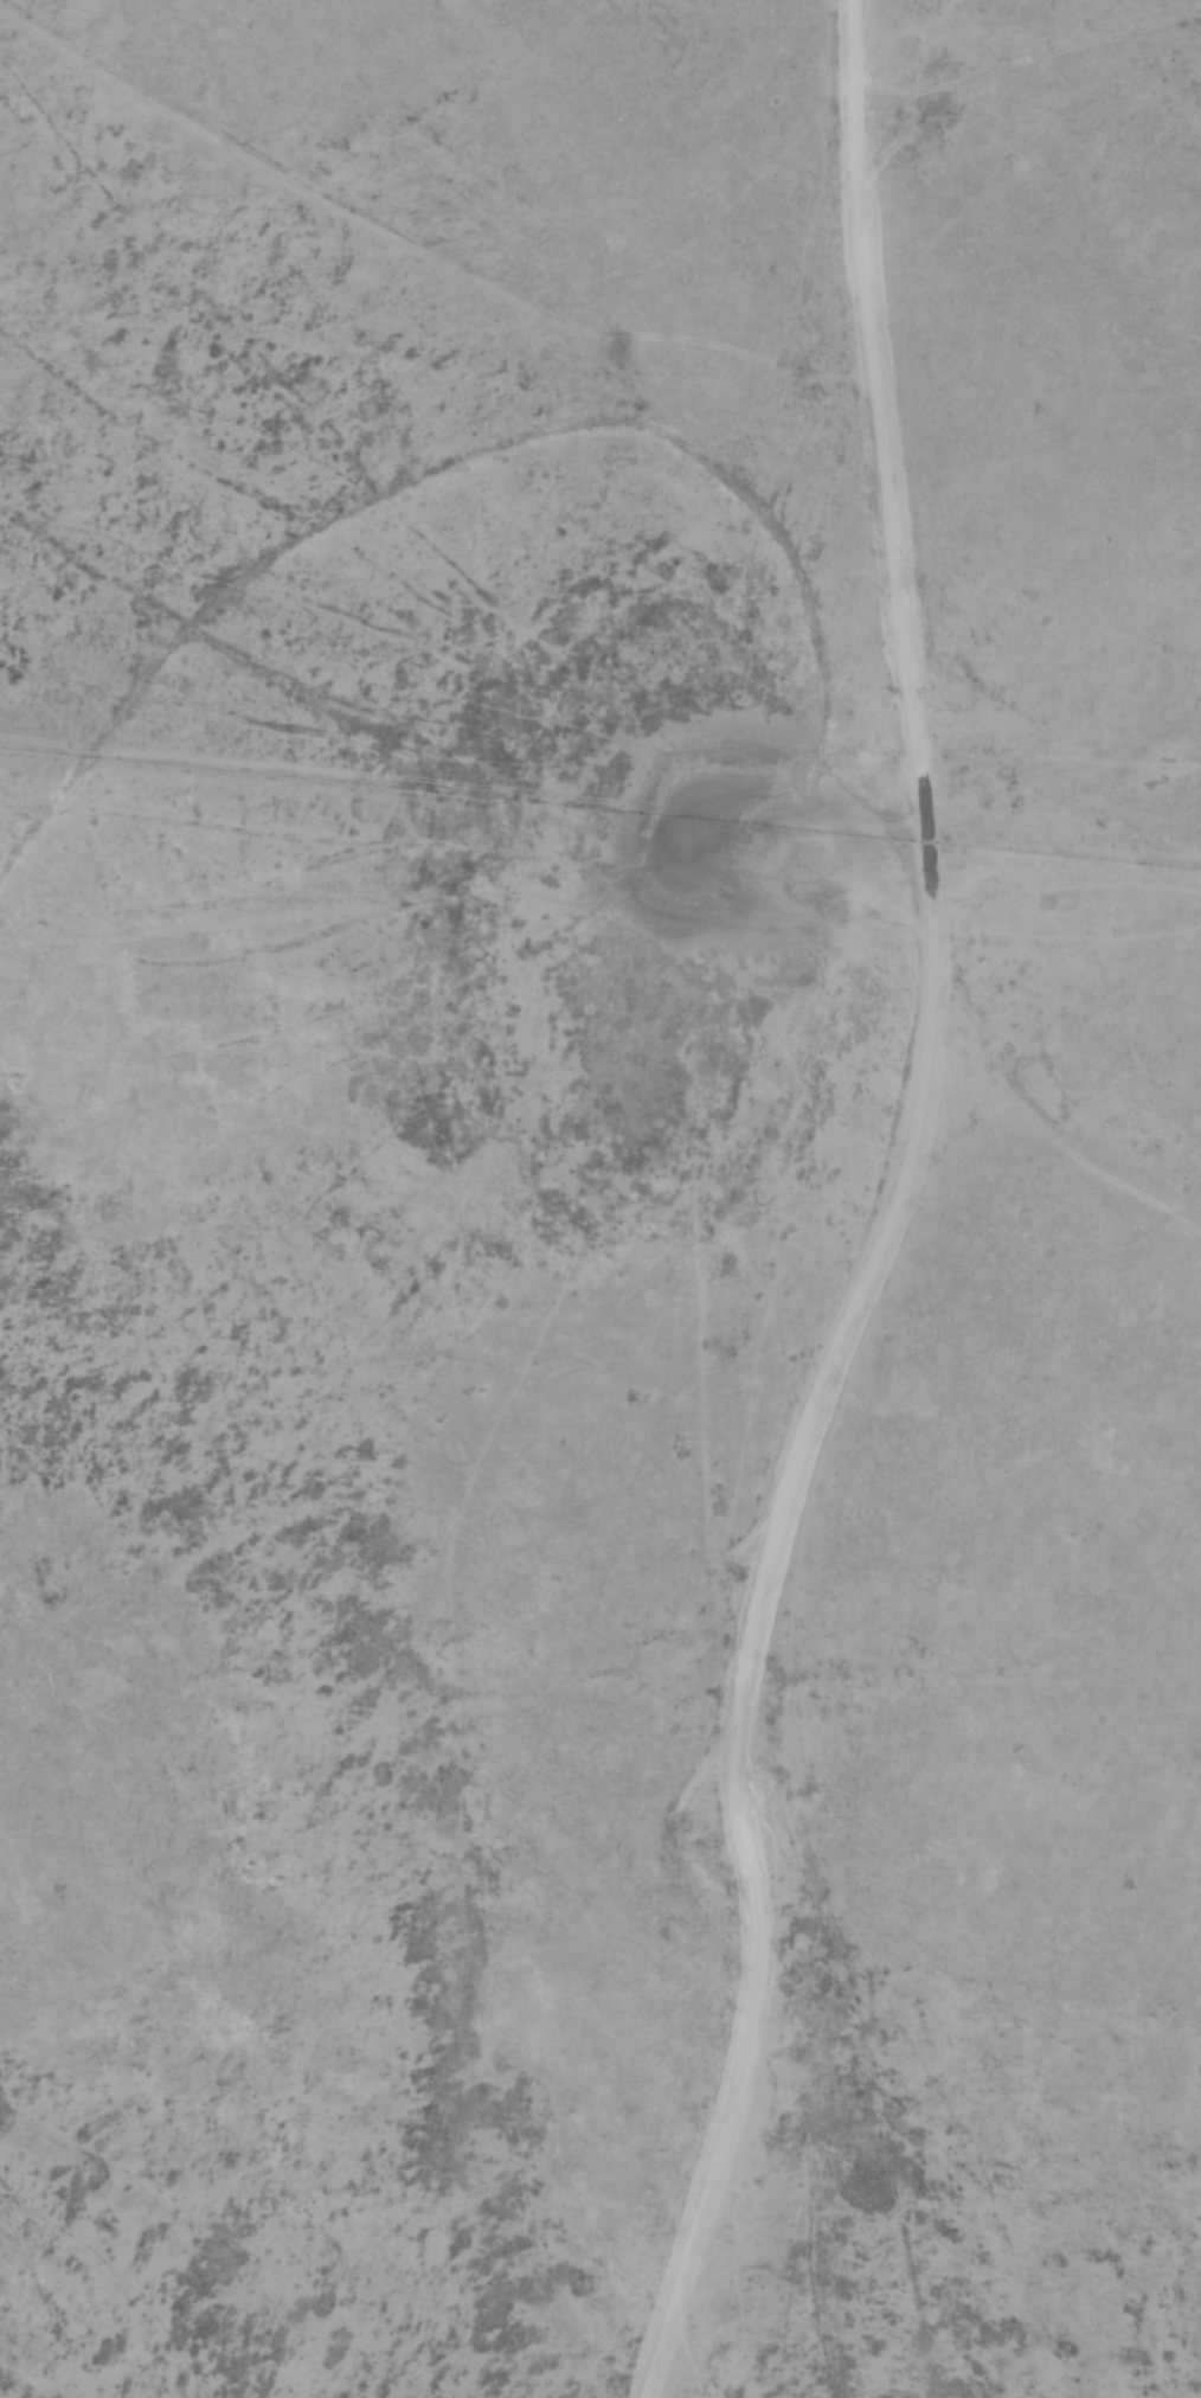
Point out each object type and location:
road: (889, 1214)

